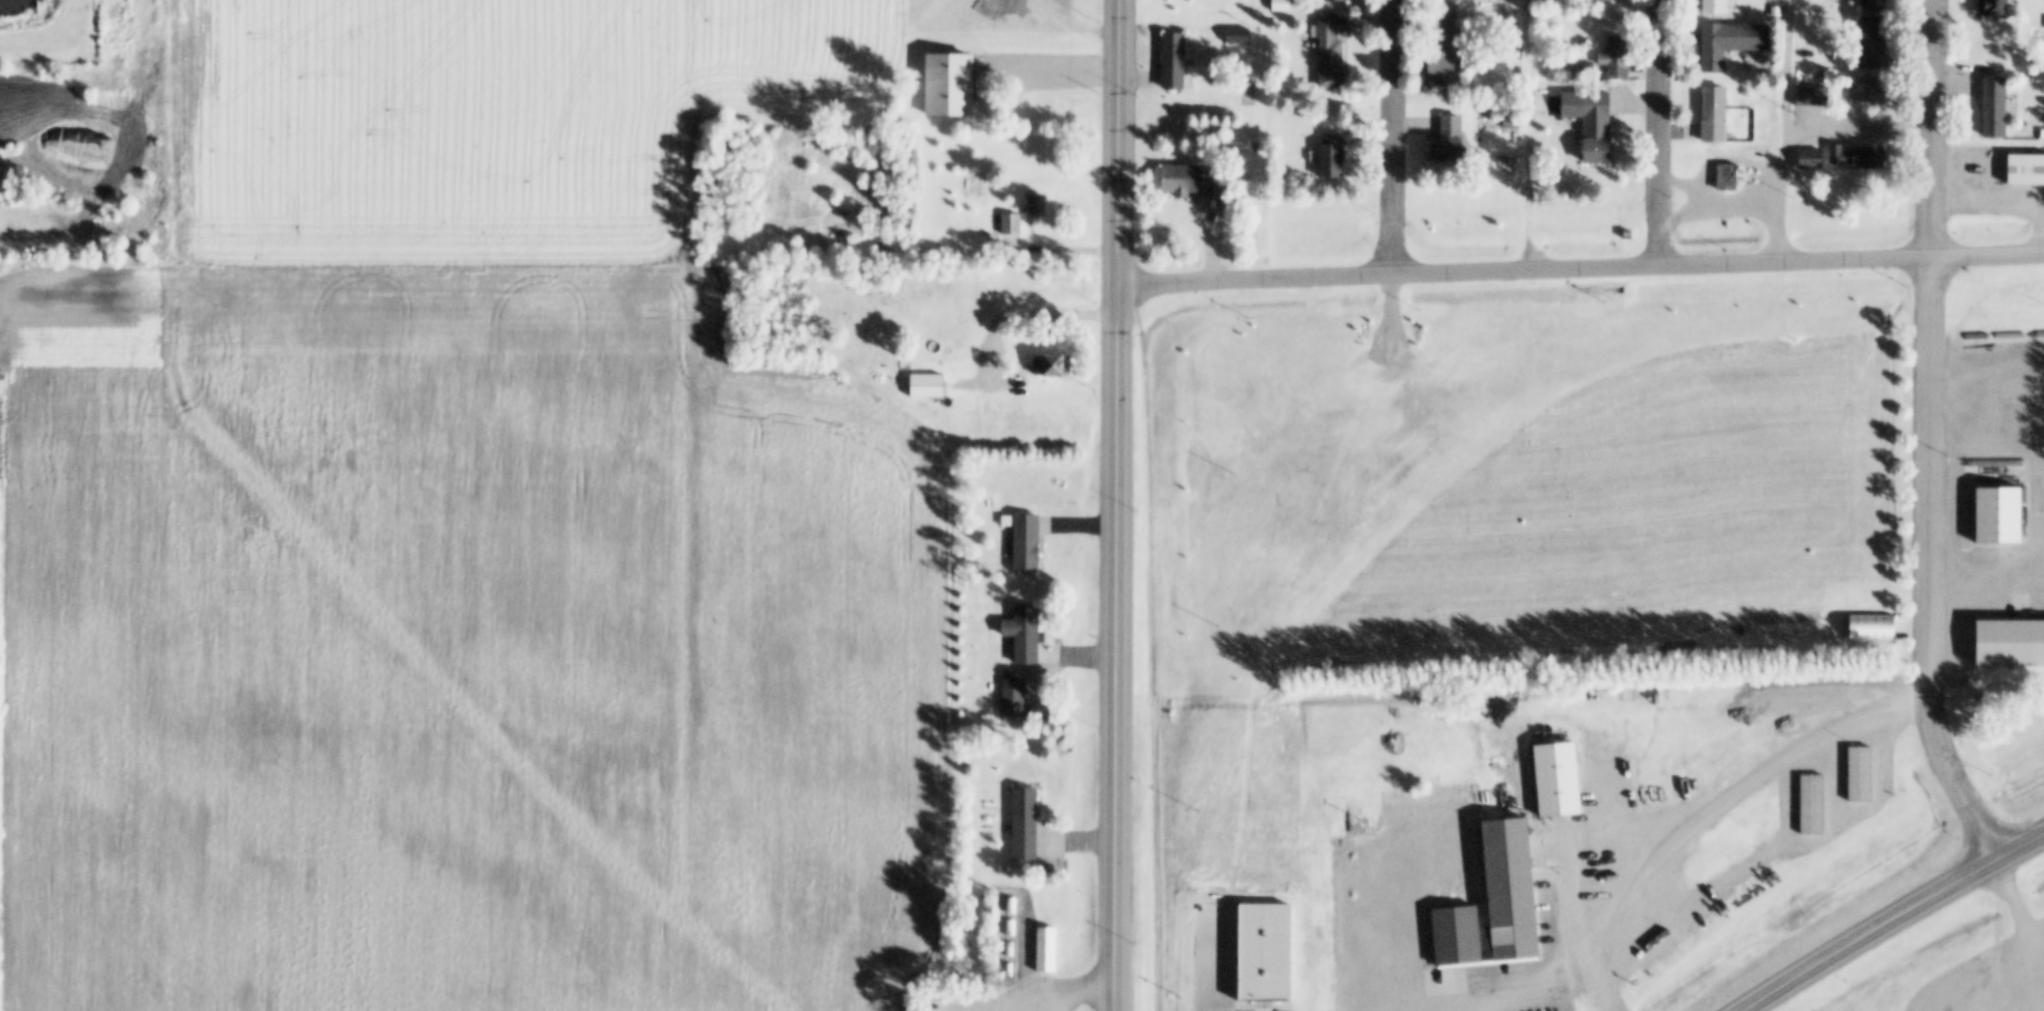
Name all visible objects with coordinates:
building: (1335, 1)
building: (1875, 5)
building: (1280, 6)
building: (1718, 7)
building: (1999, 8)
building: (1236, 35)
building: (1735, 41)
building: (1873, 41)
building: (1330, 54)
building: (1617, 58)
building: (1174, 62)
building: (1443, 63)
building: (1575, 71)
building: (1594, 71)
building: (1871, 91)
building: (1814, 95)
building: (1998, 108)
building: (1716, 114)
building: (1598, 127)
road: (1791, 133)
road: (1665, 135)
road: (1397, 139)
building: (1448, 141)
building: (1333, 157)
building: (1868, 158)
building: (1816, 159)
building: (2016, 171)
building: (1728, 177)
building: (1192, 181)
building: (1036, 209)
building: (1011, 224)
building: (1628, 234)
road: (22, 251)
road: (1584, 272)
building: (1054, 365)
building: (904, 385)
building: (929, 386)
road: (1936, 438)
road: (1124, 505)
building: (2038, 508)
building: (1997, 515)
building: (1027, 541)
building: (1871, 629)
building: (1027, 633)
building: (2009, 644)
building: (1675, 645)
building: (1015, 698)
building: (1560, 780)
building: (1025, 823)
road: (1700, 843)
building: (1014, 868)
building: (1495, 904)
storage tank: (1010, 906)
road: (1896, 922)
storage tank: (1009, 928)
road: (1572, 929)
storage tank: (1008, 949)
building: (1046, 950)
storage tank: (1007, 971)
building: (1235, 976)

